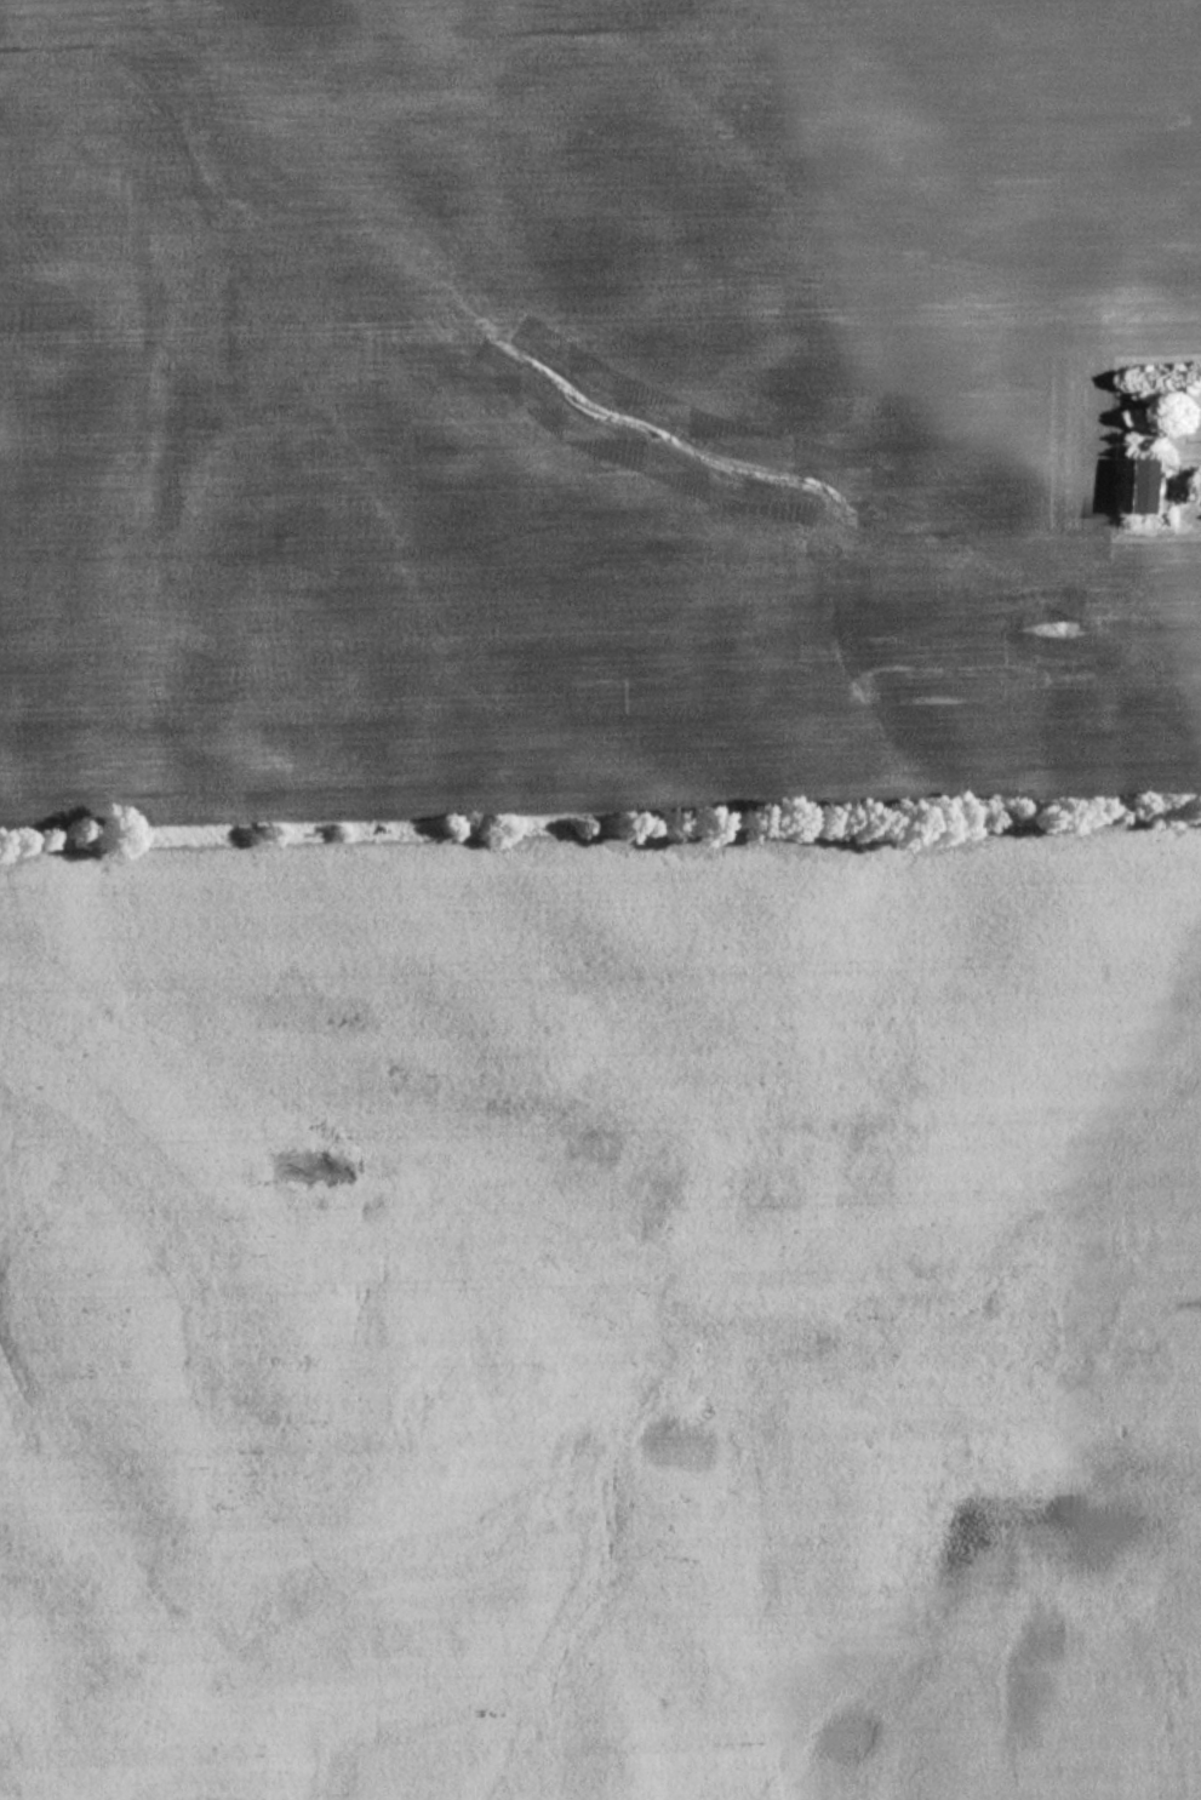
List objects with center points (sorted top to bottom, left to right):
building: (1146, 487)

